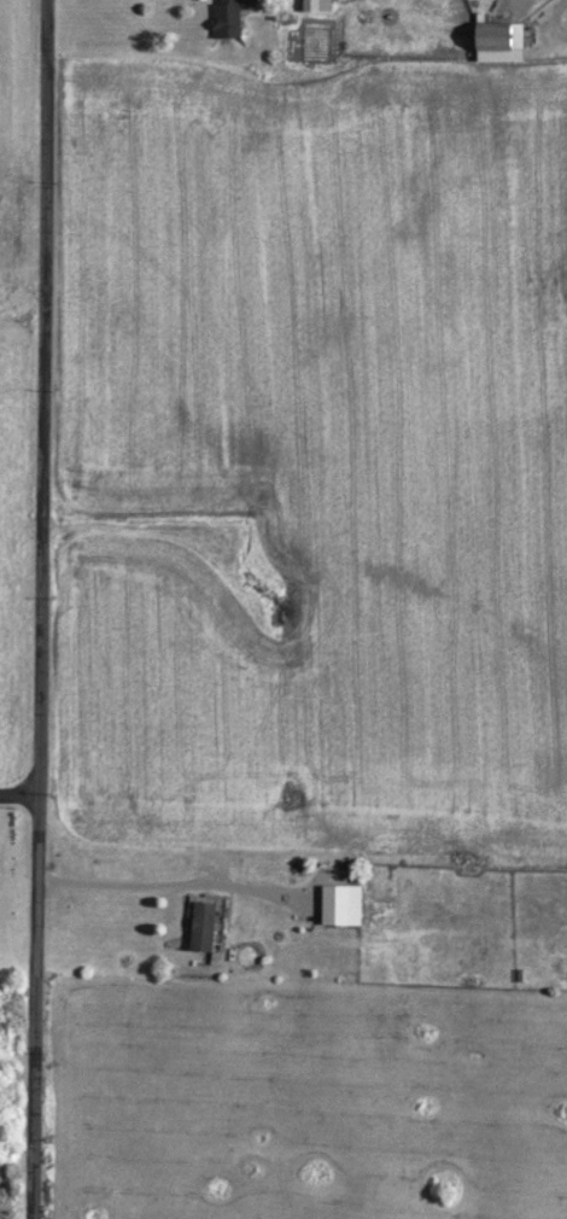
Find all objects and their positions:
building: (305, 5)
building: (227, 17)
building: (490, 41)
road: (36, 608)
road: (17, 791)
road: (173, 882)
building: (328, 905)
building: (194, 926)

